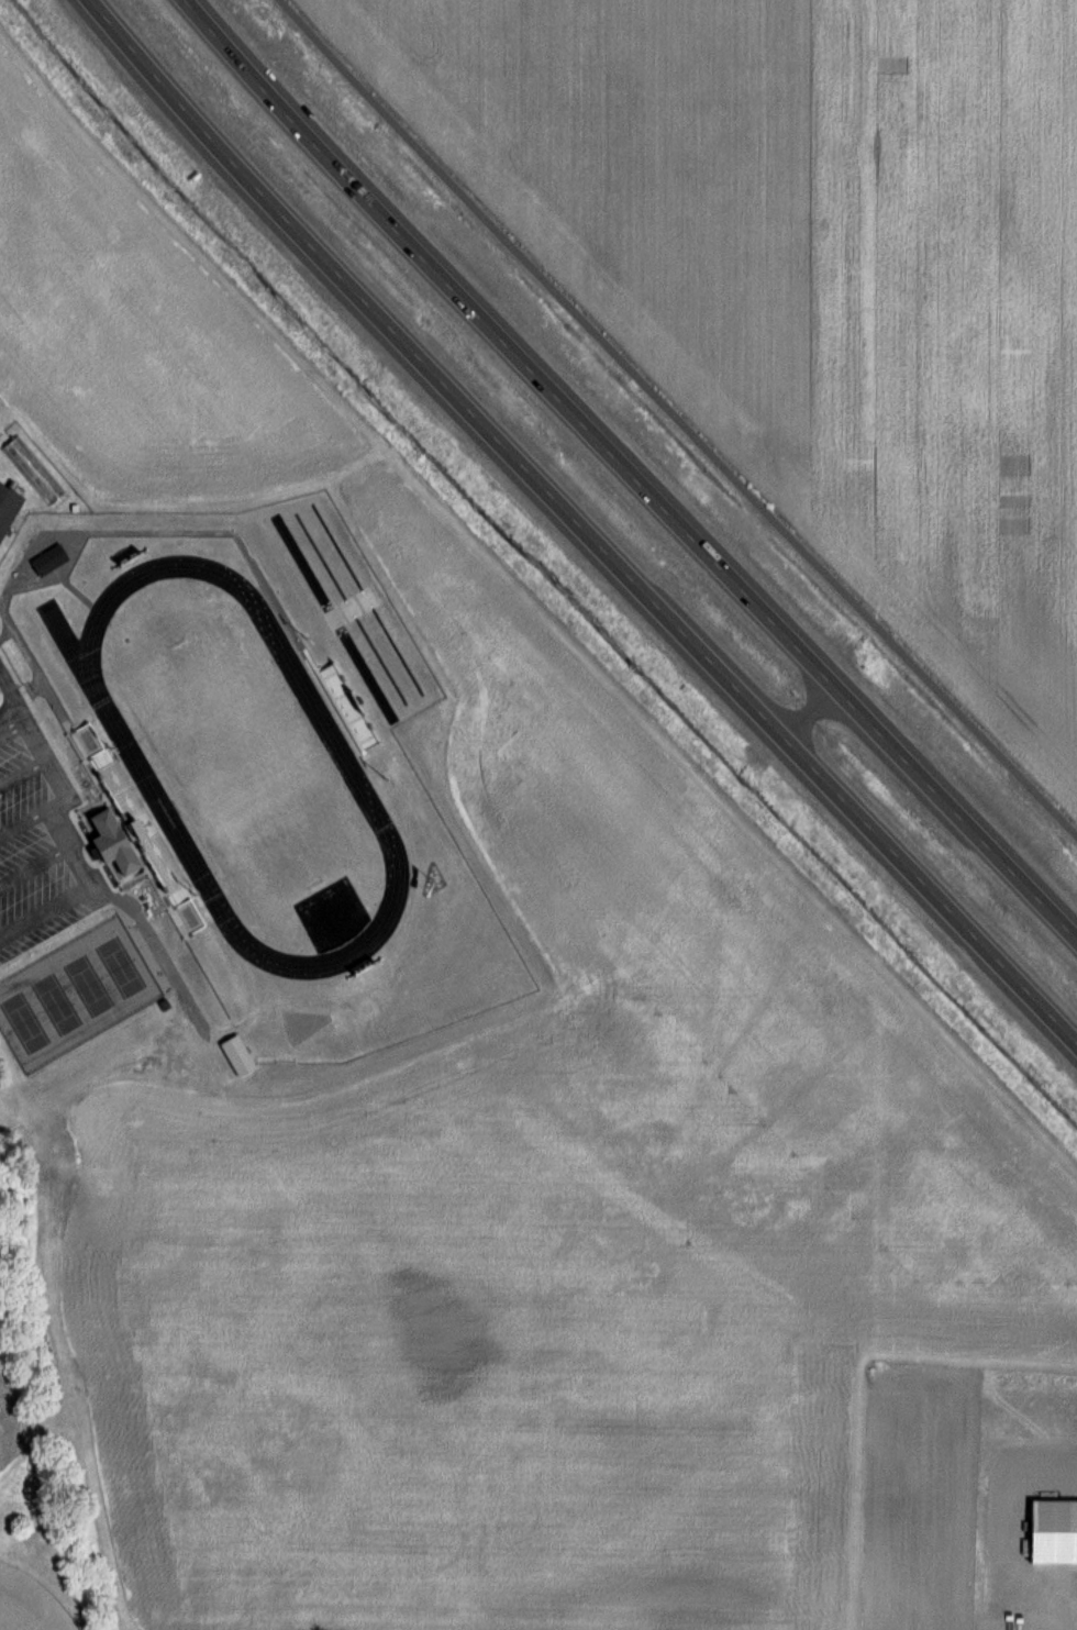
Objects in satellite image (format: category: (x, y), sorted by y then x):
road: (676, 418)
road: (630, 469)
building: (7, 504)
road: (579, 524)
building: (48, 559)
road: (795, 695)
road: (11, 698)
track: (135, 758)
park: (251, 762)
road: (36, 841)
parking lot: (44, 843)
road: (91, 847)
road: (18, 892)
road: (0, 944)
building: (1052, 1530)
road: (1058, 1626)

